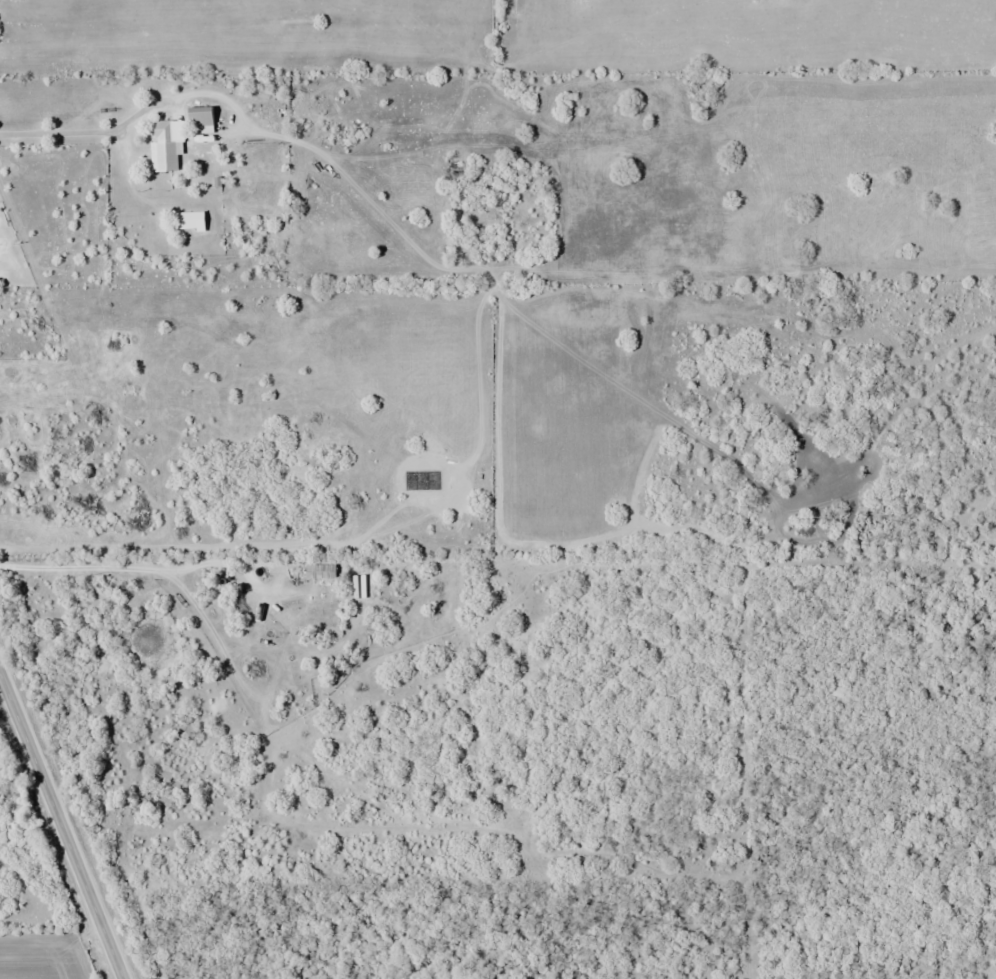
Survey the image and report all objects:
building: (203, 120)
road: (83, 128)
building: (166, 148)
building: (194, 220)
road: (61, 825)

